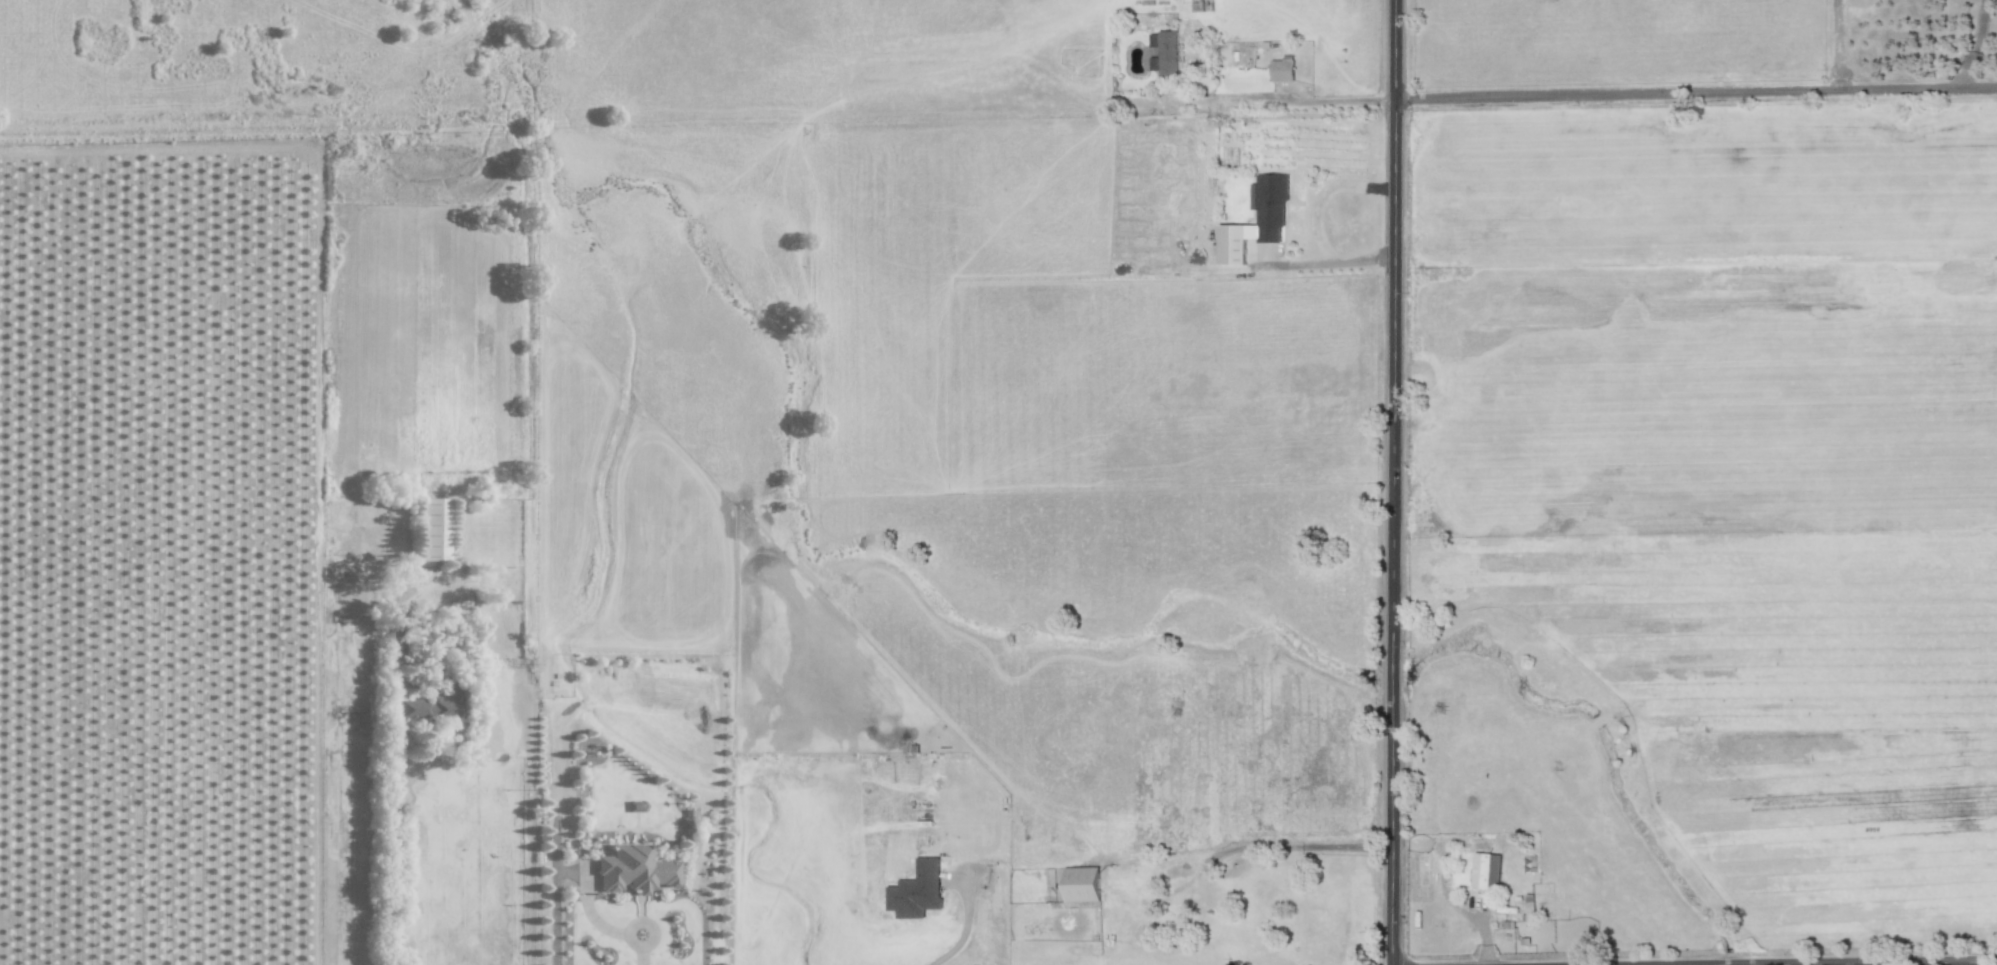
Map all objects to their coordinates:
road: (1835, 45)
road: (1975, 45)
building: (1165, 52)
building: (1282, 70)
road: (1697, 94)
road: (1314, 100)
building: (1271, 217)
road: (1331, 261)
road: (1395, 482)
building: (433, 530)
building: (415, 640)
building: (438, 706)
road: (1260, 848)
road: (391, 852)
building: (634, 870)
building: (1487, 870)
building: (1082, 884)
building: (917, 890)
building: (1530, 906)
road: (555, 917)
road: (966, 927)
road: (1894, 963)

